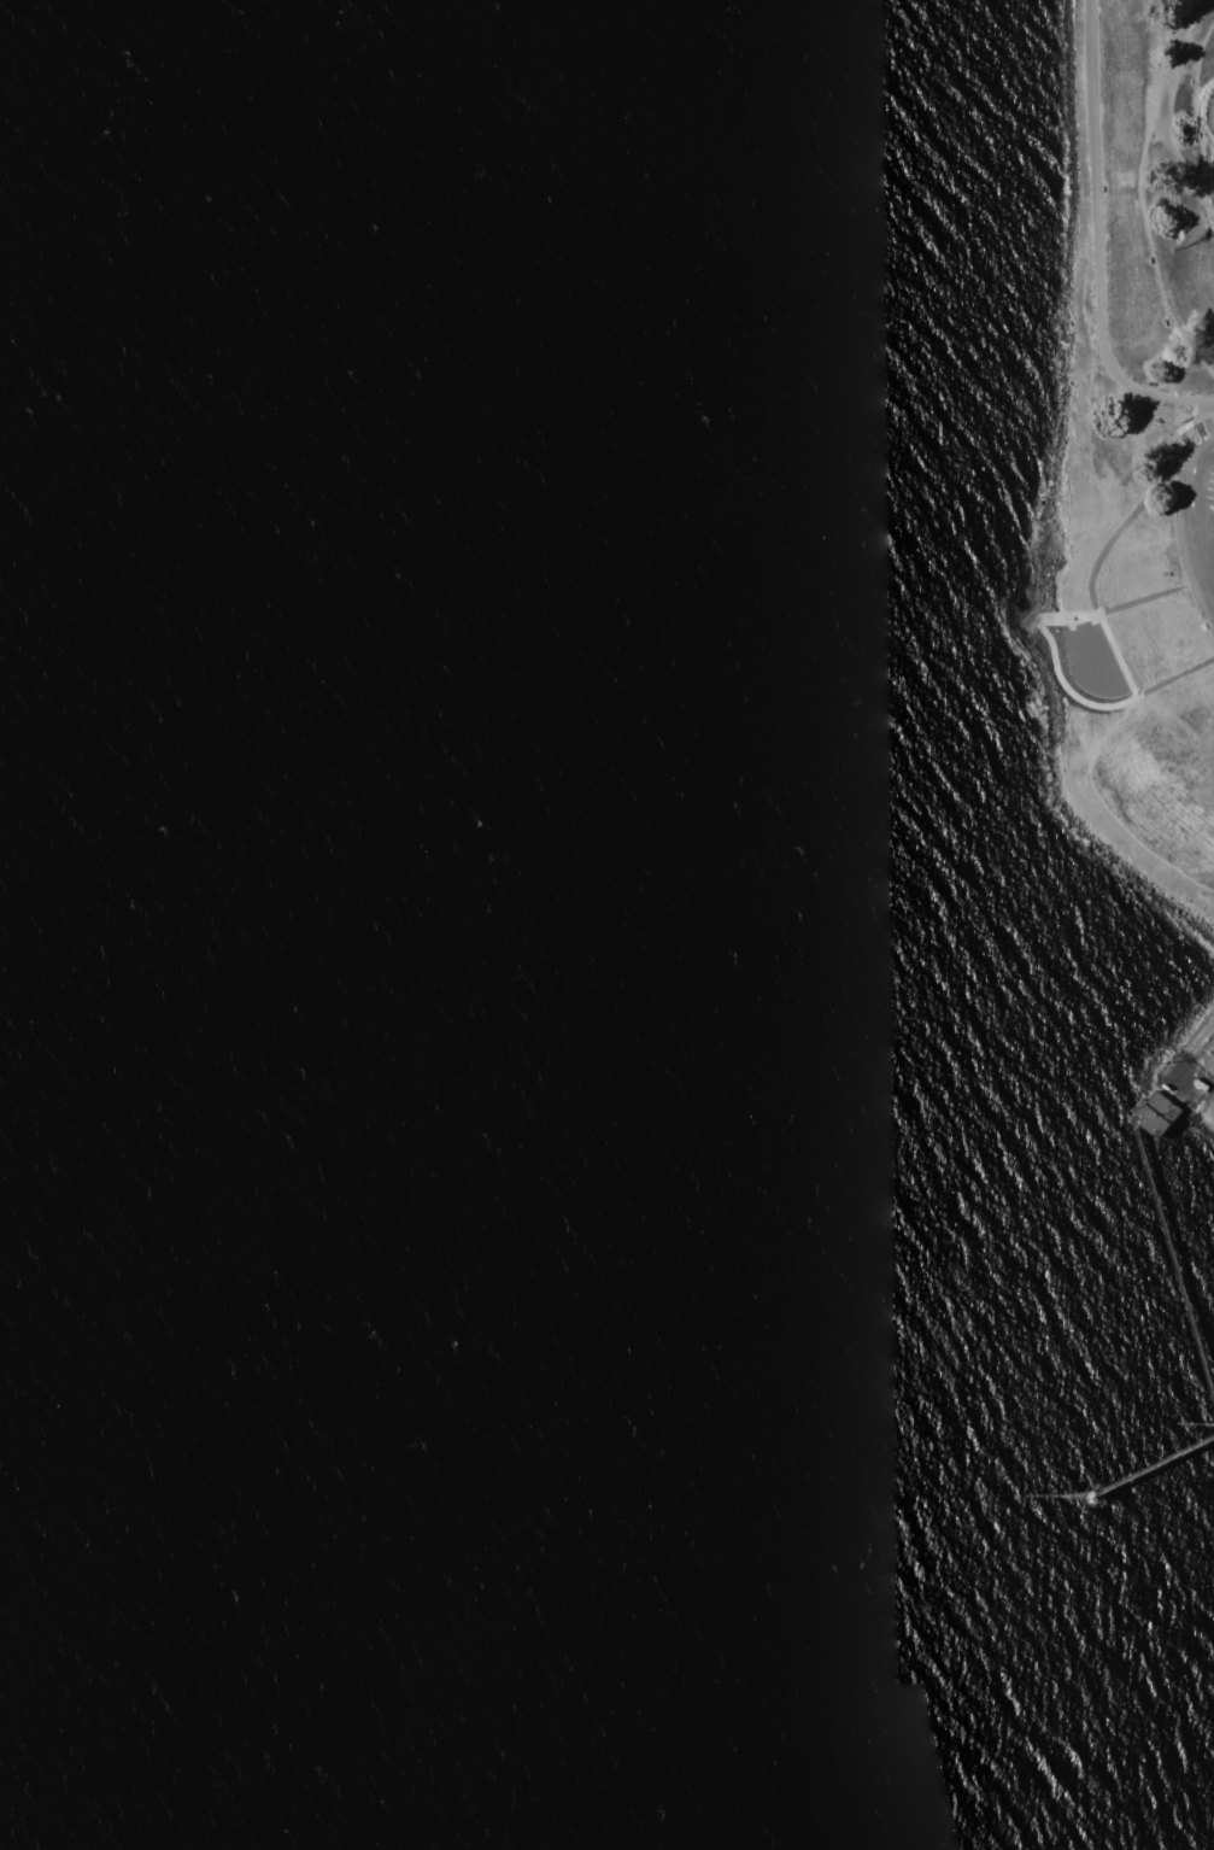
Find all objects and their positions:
road: (1192, 8)
road: (1198, 99)
road: (1210, 111)
road: (1183, 156)
road: (1150, 182)
road: (1101, 248)
park: (1140, 257)
road: (1194, 492)
road: (1084, 510)
road: (1209, 560)
park: (1130, 699)
road: (1186, 889)
park: (1187, 1072)
building: (1202, 1085)
building: (1160, 1114)
pier: (1156, 1116)
pier: (1167, 1237)
pier: (1156, 1466)

